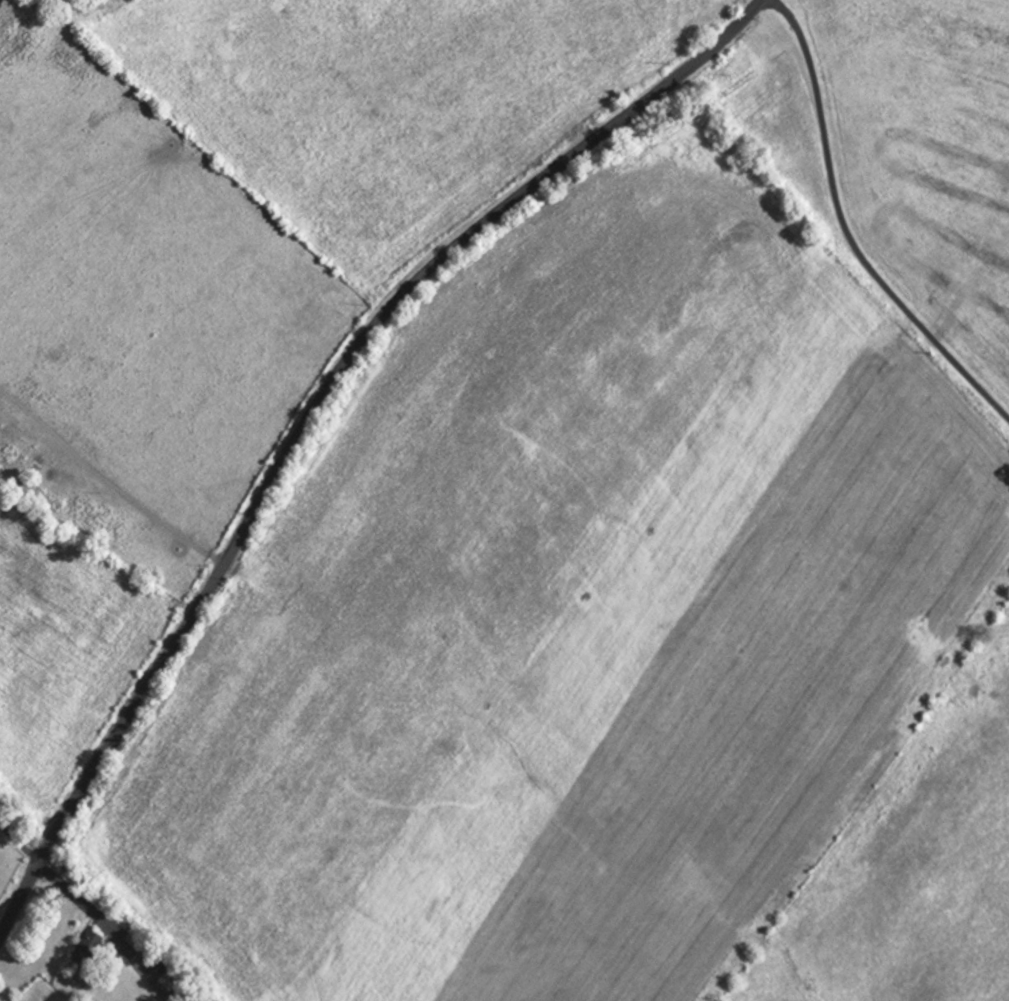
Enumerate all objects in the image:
road: (845, 234)
road: (310, 407)
road: (117, 475)
road: (20, 843)
road: (84, 902)
building: (80, 957)

